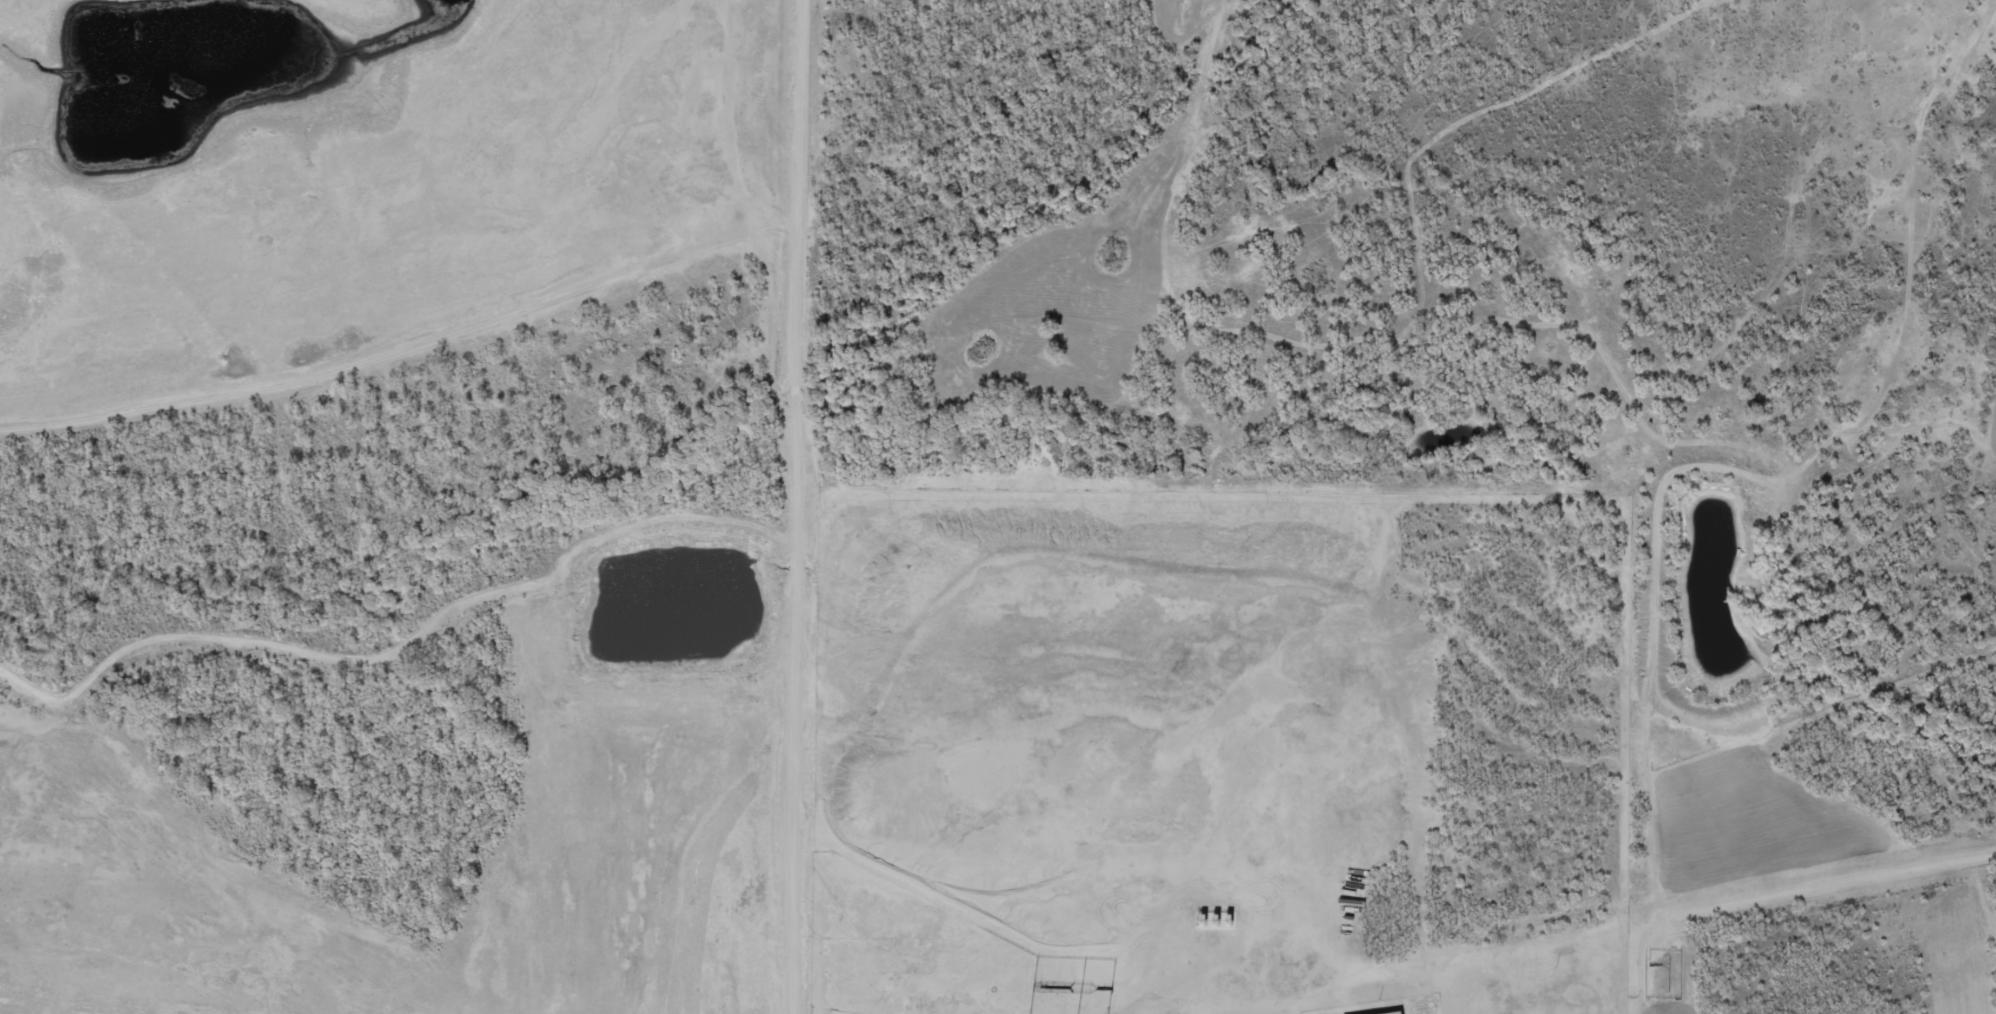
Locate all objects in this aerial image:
road: (817, 505)
road: (459, 629)
road: (1654, 922)
building: (1159, 962)
building: (1078, 970)

